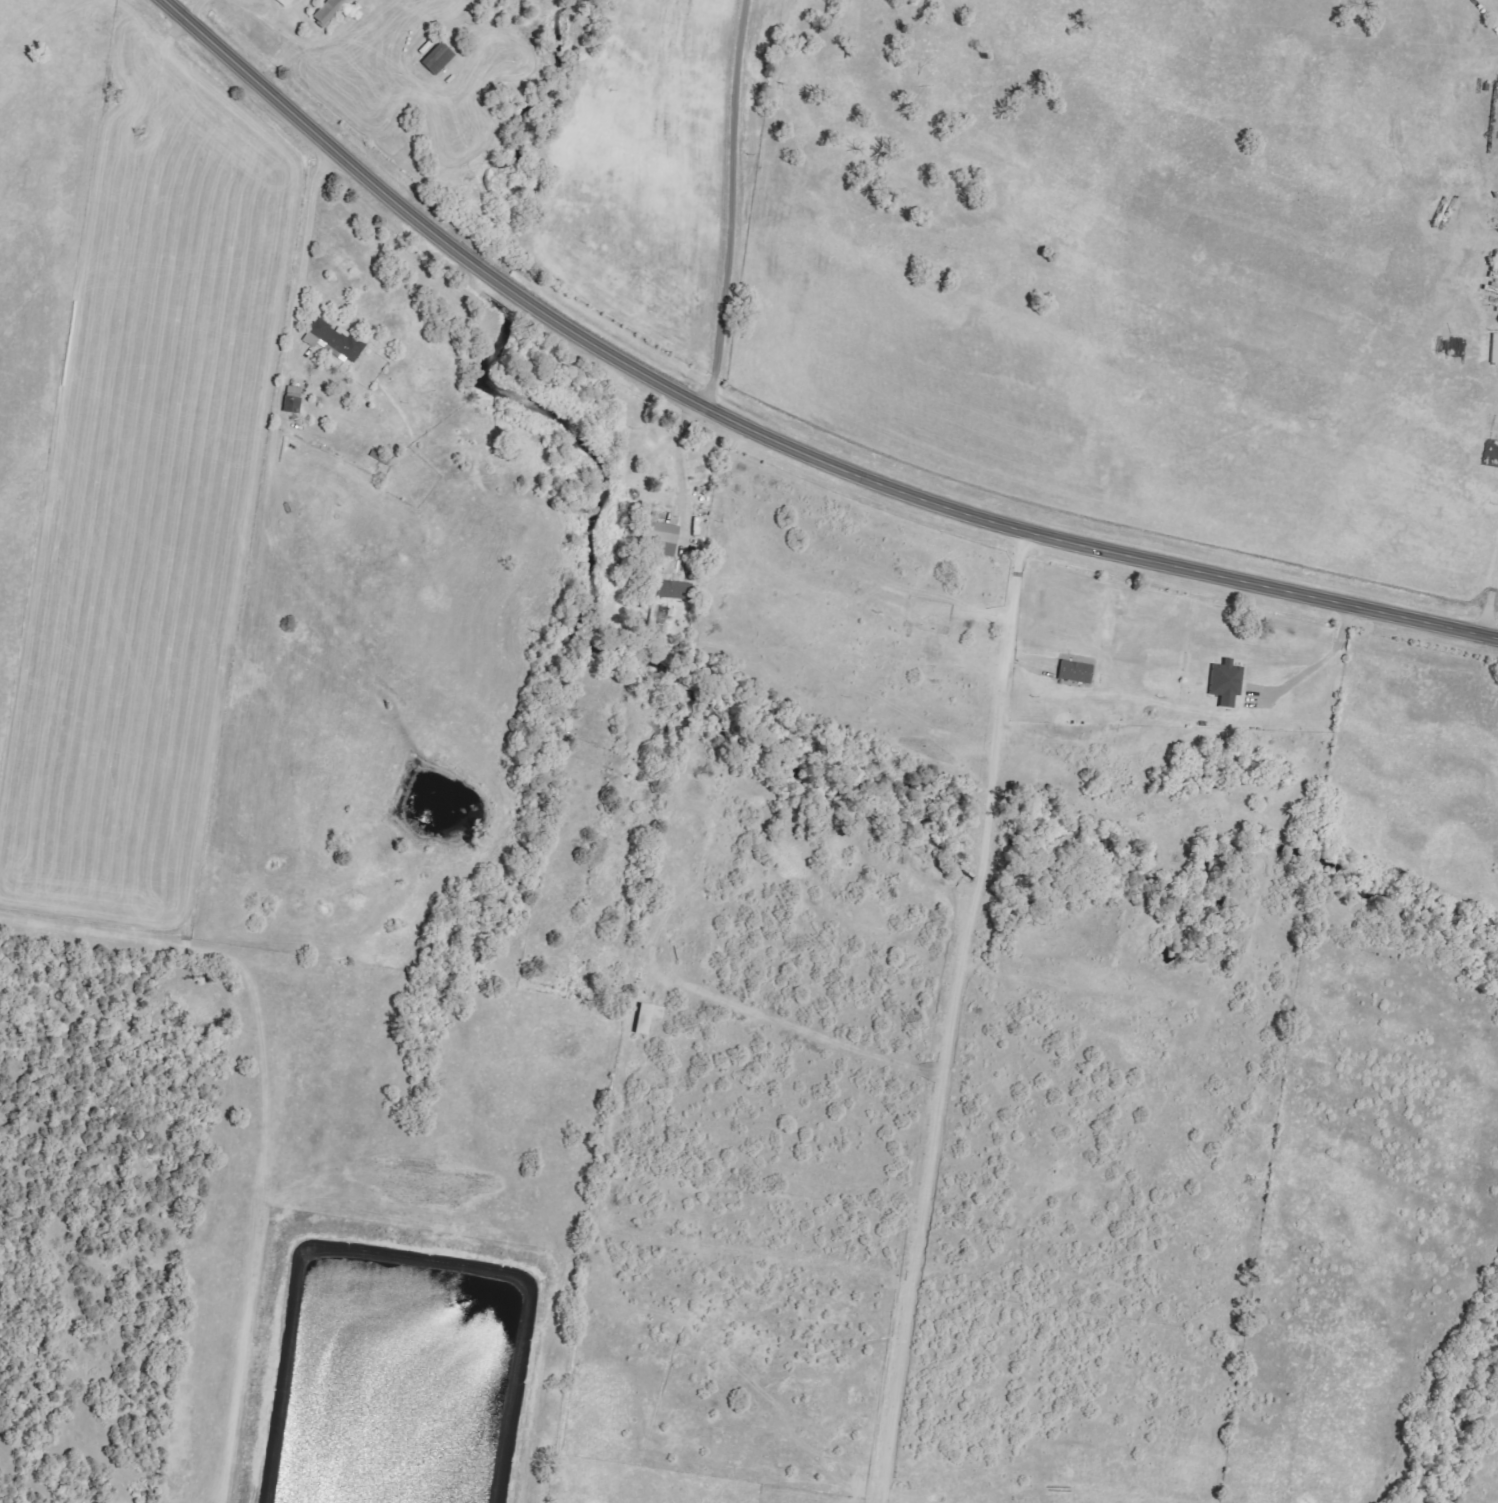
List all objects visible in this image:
building: (284, 2)
road: (1491, 7)
building: (329, 12)
building: (438, 59)
road: (734, 206)
road: (305, 256)
building: (334, 340)
building: (292, 399)
road: (773, 439)
road: (683, 479)
building: (662, 536)
building: (671, 589)
road: (1489, 596)
building: (656, 620)
road: (1318, 668)
building: (1075, 671)
building: (1226, 682)
building: (648, 1017)
road: (953, 1017)

